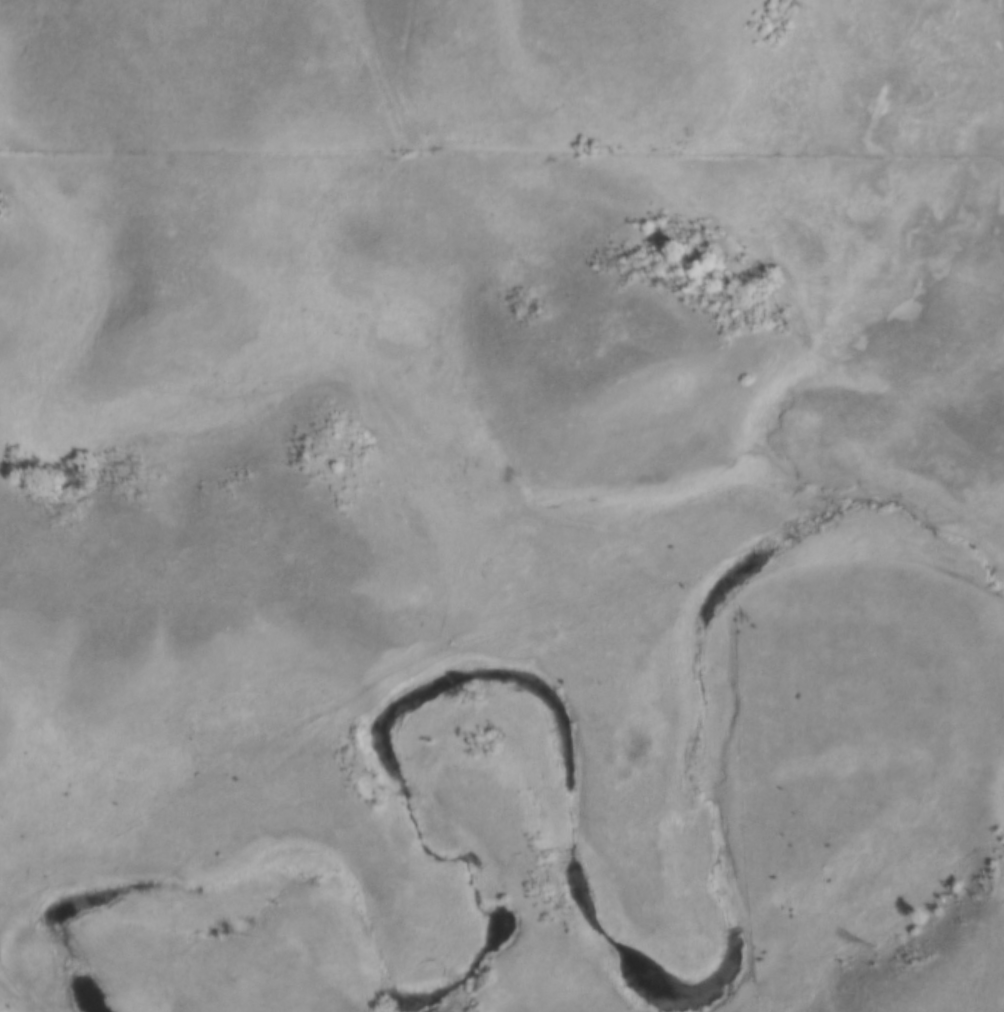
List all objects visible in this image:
road: (12, 1004)
road: (283, 1008)

